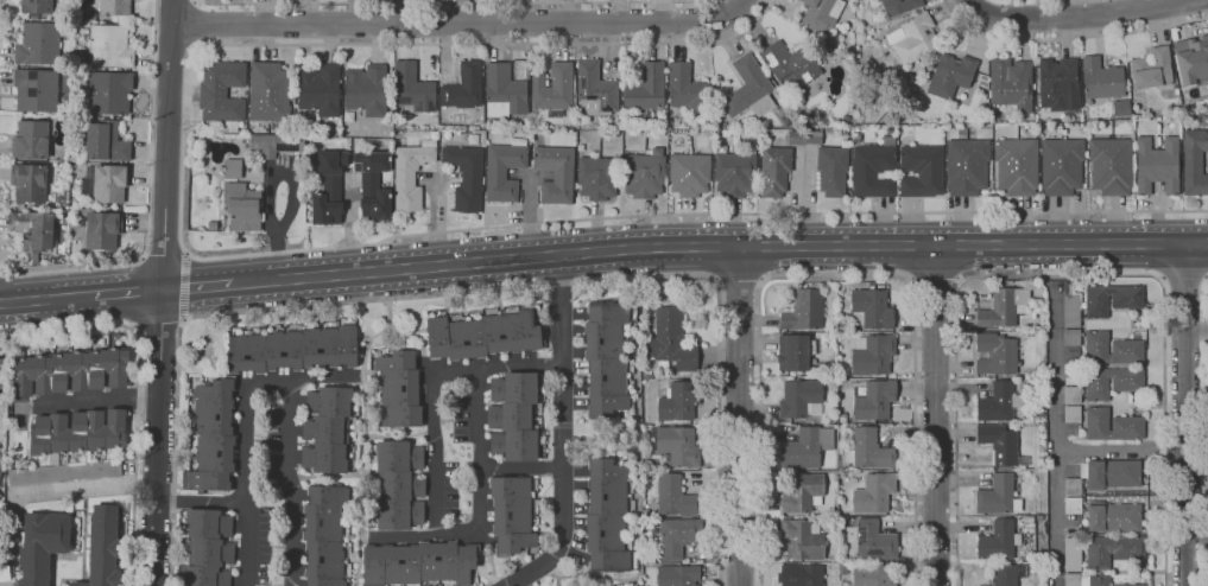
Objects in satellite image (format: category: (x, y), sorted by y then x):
road: (968, 0)
road: (454, 2)
building: (37, 6)
building: (900, 6)
building: (115, 7)
road: (727, 12)
building: (821, 14)
building: (87, 17)
road: (1075, 18)
road: (439, 23)
road: (196, 25)
road: (1069, 37)
building: (913, 38)
building: (39, 43)
building: (109, 46)
building: (80, 52)
building: (1191, 60)
building: (790, 64)
building: (1152, 69)
building: (951, 75)
building: (1101, 78)
building: (1011, 84)
building: (1058, 84)
building: (413, 88)
building: (464, 88)
building: (646, 88)
building: (554, 89)
building: (687, 89)
building: (748, 89)
building: (36, 90)
building: (320, 90)
building: (367, 90)
building: (595, 90)
building: (504, 91)
building: (109, 93)
building: (222, 93)
building: (270, 93)
building: (869, 97)
building: (1121, 108)
building: (788, 119)
building: (890, 132)
building: (649, 133)
building: (797, 138)
building: (814, 138)
building: (856, 138)
building: (30, 140)
building: (106, 141)
building: (289, 144)
building: (263, 147)
building: (740, 149)
building: (1194, 163)
building: (1157, 165)
building: (967, 166)
building: (1017, 166)
building: (1061, 166)
building: (1111, 166)
building: (233, 168)
building: (774, 170)
building: (833, 170)
building: (873, 170)
building: (921, 171)
building: (502, 172)
building: (735, 173)
building: (555, 174)
building: (644, 174)
building: (689, 174)
building: (410, 176)
building: (466, 177)
building: (597, 178)
building: (30, 183)
building: (107, 183)
building: (374, 184)
building: (329, 189)
road: (148, 200)
building: (242, 206)
building: (32, 230)
building: (102, 230)
road: (719, 247)
road: (166, 250)
road: (301, 250)
road: (1061, 275)
road: (837, 278)
road: (1184, 279)
road: (935, 281)
road: (739, 282)
road: (197, 287)
building: (1067, 288)
road: (468, 291)
road: (128, 293)
road: (163, 293)
road: (46, 299)
building: (1112, 299)
building: (1044, 307)
building: (872, 308)
building: (1004, 308)
building: (804, 310)
building: (1070, 310)
road: (158, 329)
road: (1196, 329)
building: (482, 336)
building: (1071, 337)
building: (671, 340)
building: (293, 349)
building: (1112, 349)
building: (795, 352)
building: (873, 353)
building: (994, 355)
building: (606, 358)
building: (69, 371)
road: (280, 382)
building: (1105, 384)
building: (399, 388)
road: (139, 389)
building: (801, 399)
building: (873, 399)
road: (95, 402)
building: (679, 402)
building: (999, 402)
road: (1207, 412)
building: (1071, 413)
road: (1185, 414)
road: (936, 415)
building: (513, 416)
road: (738, 416)
building: (843, 418)
building: (834, 420)
building: (1113, 426)
building: (325, 429)
building: (77, 433)
road: (563, 433)
road: (1056, 433)
building: (213, 437)
road: (363, 438)
road: (399, 438)
building: (1001, 445)
building: (676, 446)
building: (805, 447)
building: (868, 450)
road: (1121, 450)
road: (521, 467)
building: (0, 469)
building: (63, 472)
building: (1112, 474)
building: (399, 484)
building: (1073, 486)
road: (91, 489)
building: (803, 492)
building: (0, 493)
building: (874, 493)
building: (675, 496)
building: (997, 496)
road: (204, 503)
building: (1073, 505)
building: (512, 515)
building: (607, 516)
building: (1113, 516)
building: (1027, 520)
building: (0, 529)
road: (479, 533)
building: (324, 535)
building: (677, 536)
road: (1197, 536)
building: (802, 540)
building: (999, 541)
building: (874, 542)
building: (42, 546)
building: (103, 547)
building: (207, 549)
building: (1114, 550)
building: (1073, 554)
building: (419, 563)
building: (842, 568)
building: (4, 573)
building: (677, 575)
building: (802, 575)
building: (871, 575)
building: (1005, 575)
building: (1086, 579)
building: (1128, 585)

